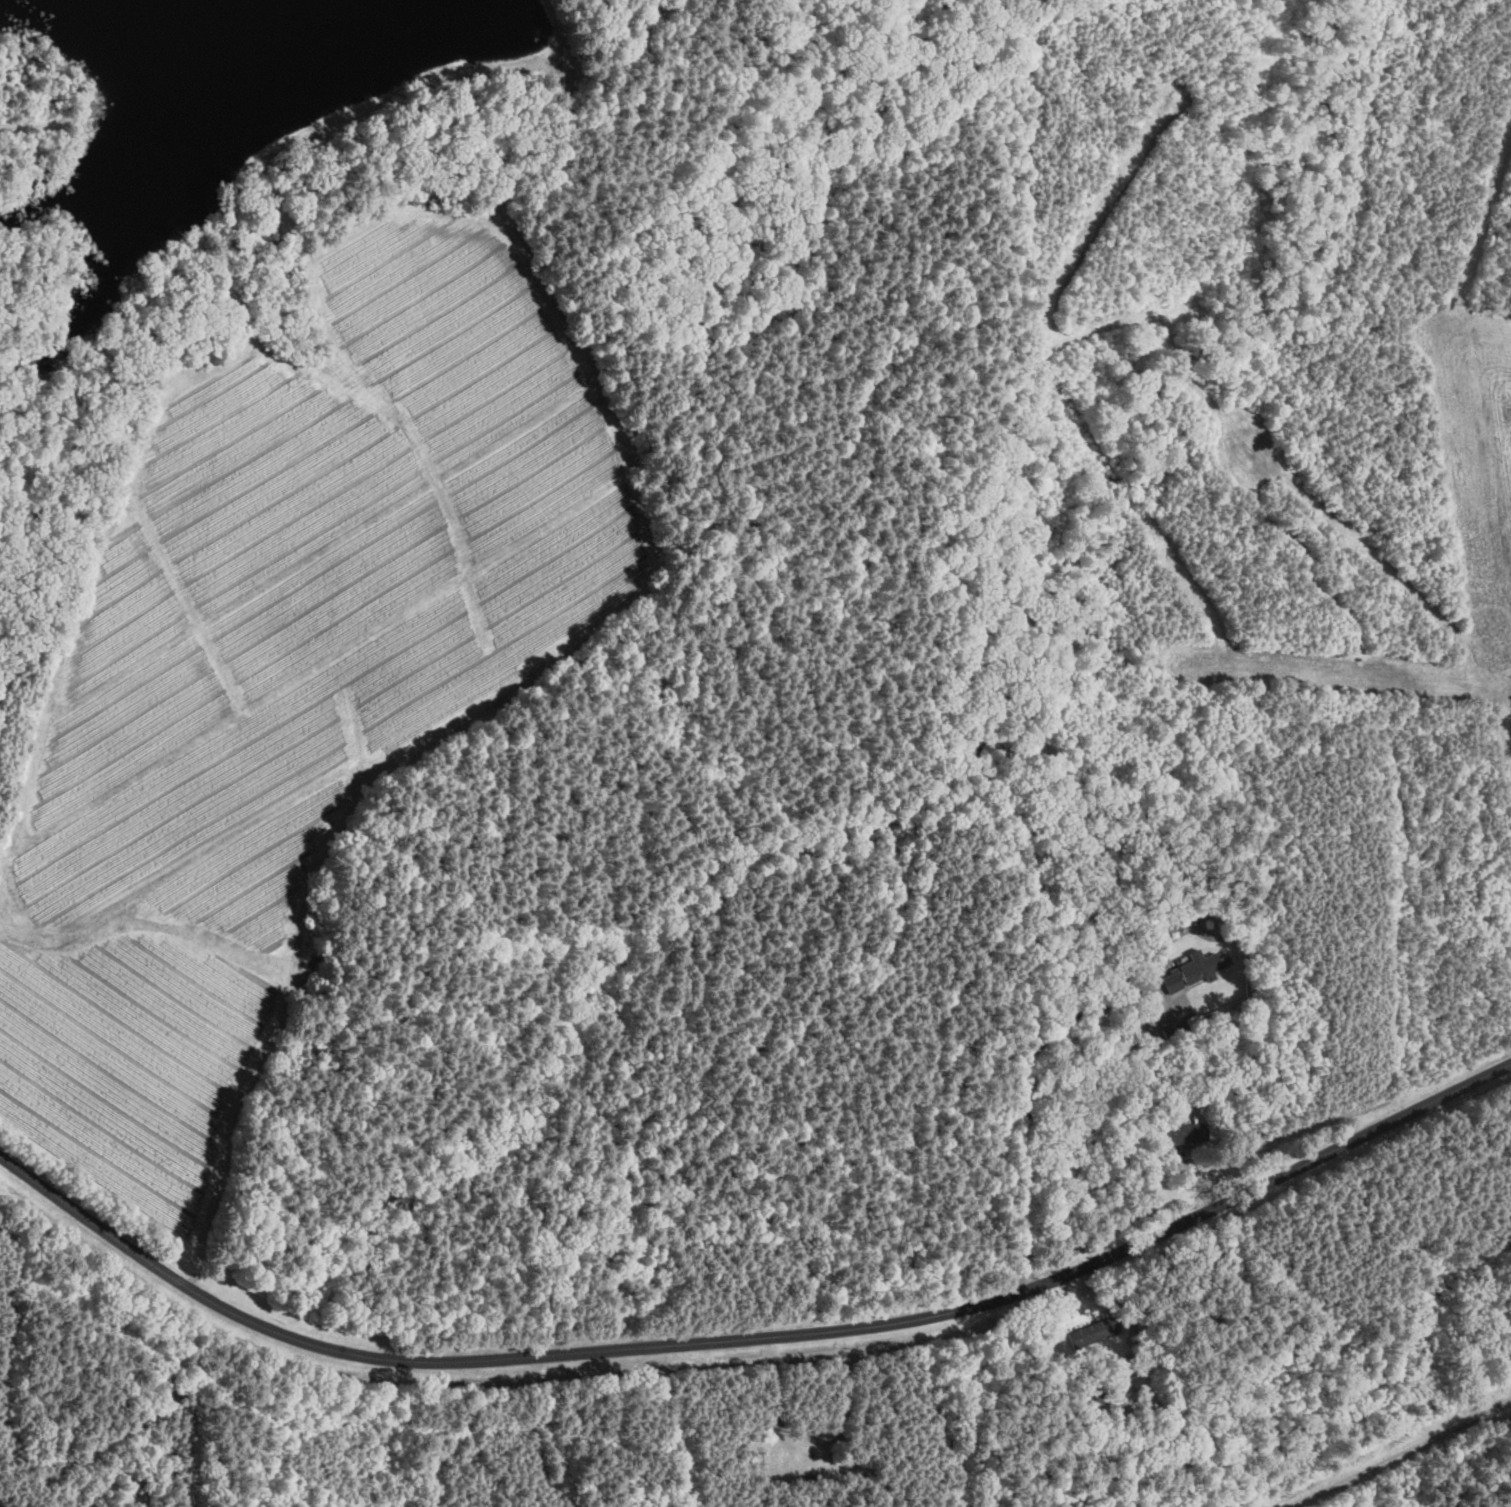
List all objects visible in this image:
road: (543, 670)
building: (1194, 971)
road: (1024, 1101)
building: (1187, 1134)
building: (1172, 1160)
building: (1093, 1335)
road: (754, 1339)
road: (1400, 1451)

